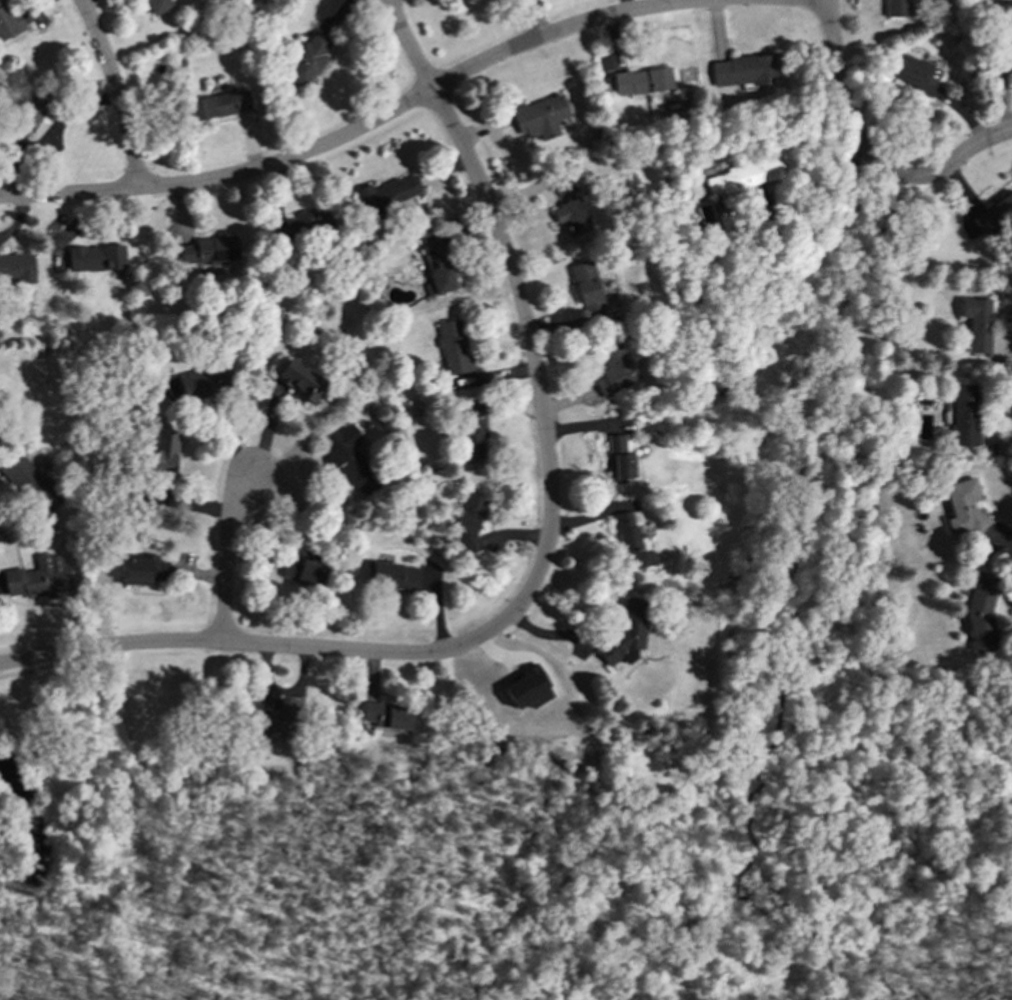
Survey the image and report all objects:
road: (815, 0)
building: (157, 6)
building: (898, 7)
building: (8, 22)
road: (406, 45)
building: (1007, 49)
building: (308, 59)
building: (744, 70)
building: (916, 74)
building: (642, 81)
road: (116, 92)
road: (842, 101)
building: (218, 105)
building: (32, 106)
building: (539, 117)
road: (364, 127)
road: (50, 134)
road: (957, 157)
building: (741, 179)
road: (810, 193)
building: (387, 194)
building: (569, 208)
building: (994, 212)
building: (300, 226)
building: (208, 250)
building: (95, 257)
building: (436, 265)
building: (17, 267)
building: (586, 286)
building: (977, 323)
building: (454, 346)
road: (530, 346)
building: (614, 370)
building: (299, 380)
building: (192, 387)
building: (963, 415)
building: (474, 430)
building: (165, 455)
building: (619, 460)
building: (350, 461)
building: (31, 483)
building: (963, 509)
building: (469, 520)
road: (1000, 532)
building: (631, 543)
road: (225, 555)
building: (140, 570)
building: (302, 572)
building: (394, 576)
building: (39, 578)
building: (981, 612)
building: (627, 633)
road: (261, 644)
building: (527, 688)
building: (386, 716)
building: (272, 718)
park: (105, 770)

